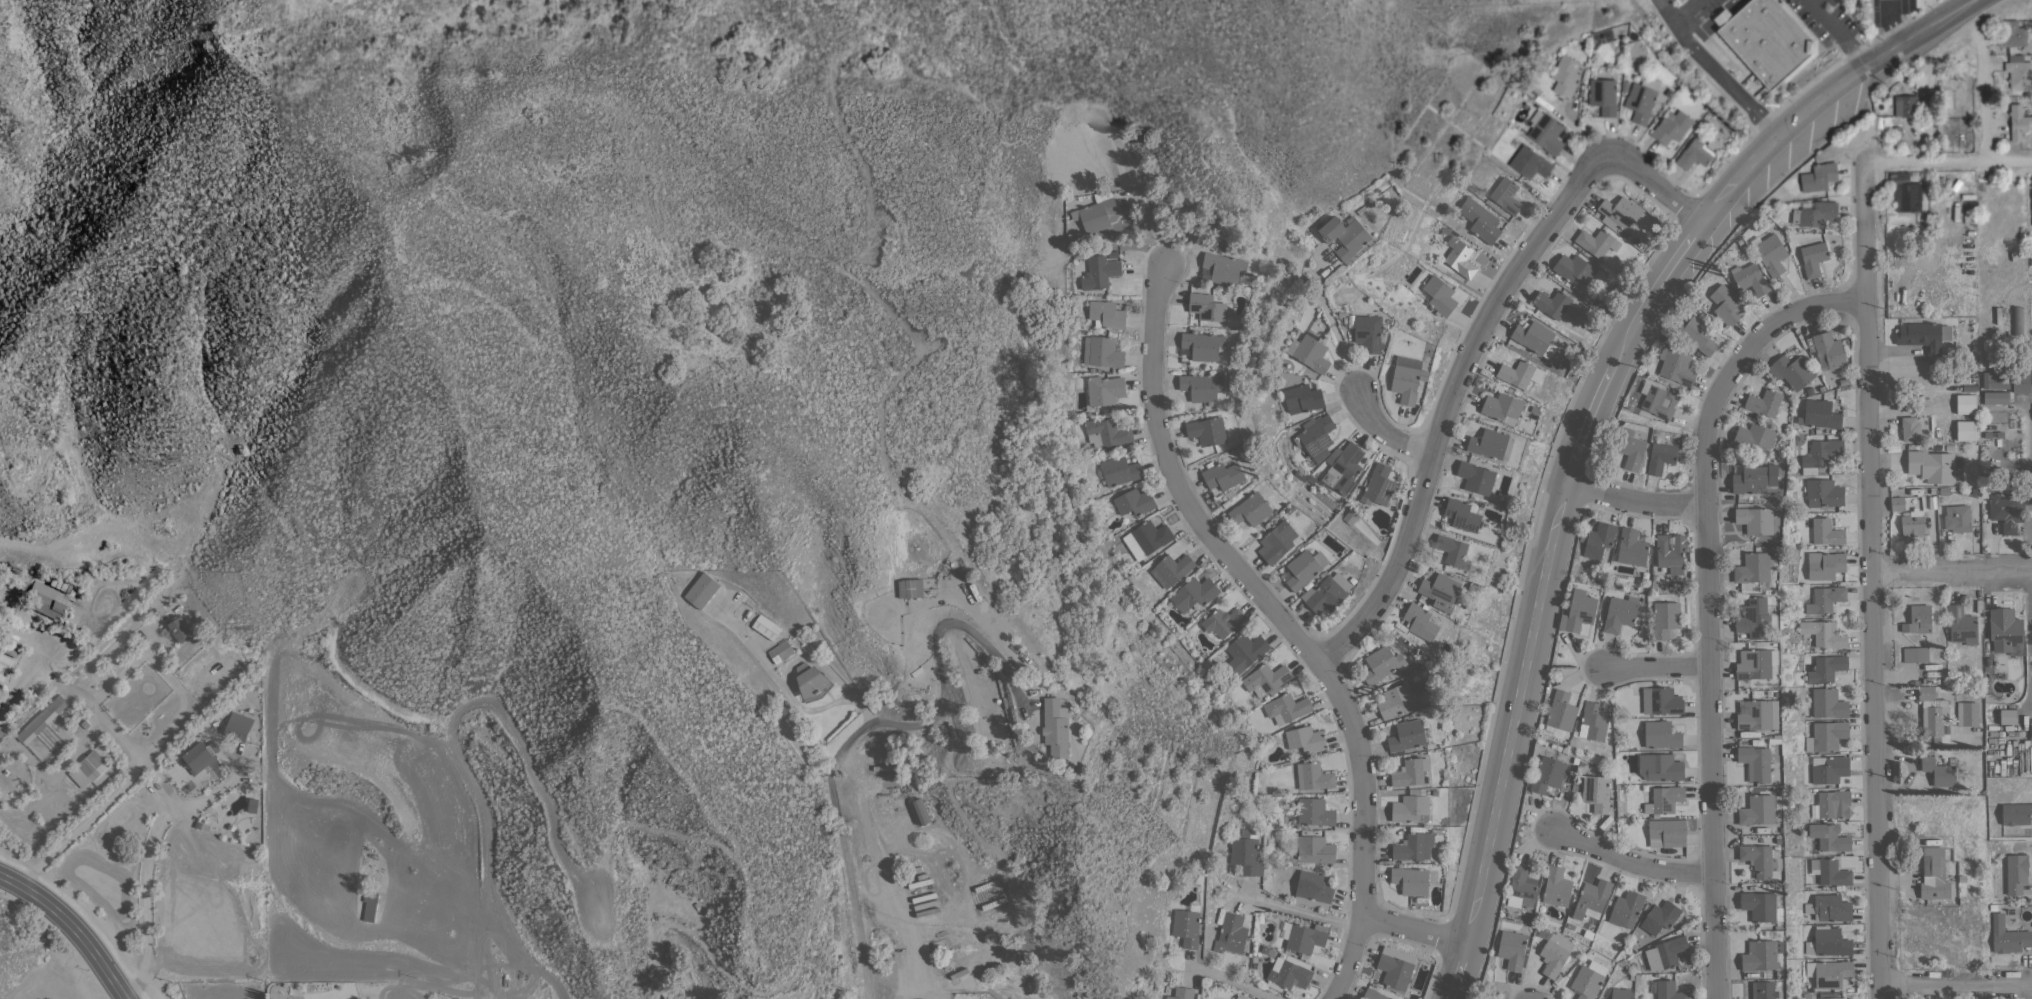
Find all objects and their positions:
road: (1809, 1)
road: (1891, 3)
road: (1683, 13)
road: (1896, 25)
road: (1835, 33)
building: (2013, 34)
building: (1767, 40)
road: (1713, 70)
building: (2018, 72)
building: (1566, 75)
road: (1980, 82)
building: (1602, 95)
building: (1641, 99)
building: (1905, 105)
building: (2017, 122)
building: (1670, 127)
building: (1545, 132)
building: (1696, 153)
road: (1947, 160)
building: (1529, 162)
building: (1818, 177)
building: (1905, 192)
building: (1506, 195)
building: (2031, 199)
building: (1095, 213)
building: (1817, 214)
building: (1621, 215)
building: (1480, 220)
building: (1344, 236)
building: (1596, 242)
building: (1771, 254)
building: (1459, 256)
building: (1813, 258)
building: (2030, 260)
building: (1223, 268)
building: (1573, 268)
building: (1099, 272)
building: (1750, 279)
building: (1439, 295)
building: (1552, 303)
building: (1725, 305)
building: (1206, 307)
building: (1106, 315)
building: (2017, 320)
building: (1368, 333)
building: (1699, 334)
building: (1920, 336)
building: (1533, 338)
building: (1202, 346)
building: (1829, 349)
building: (1101, 352)
road: (1468, 352)
building: (1311, 354)
building: (1677, 367)
building: (1791, 372)
building: (1520, 373)
building: (1406, 379)
building: (2006, 382)
building: (1201, 387)
building: (1104, 390)
building: (1996, 398)
building: (1302, 399)
building: (1658, 400)
building: (1764, 403)
building: (1965, 404)
building: (1502, 408)
building: (1819, 414)
road: (1583, 424)
building: (1910, 429)
building: (1965, 430)
building: (1206, 431)
building: (1106, 432)
building: (1993, 432)
road: (1382, 434)
building: (1315, 436)
building: (1753, 437)
building: (1490, 444)
building: (1631, 451)
building: (1822, 453)
building: (1660, 457)
building: (1933, 465)
building: (1342, 467)
building: (1119, 471)
building: (1223, 476)
building: (1476, 478)
building: (1753, 478)
building: (1378, 486)
building: (1823, 493)
road: (1633, 500)
building: (1134, 502)
building: (1897, 503)
building: (1250, 509)
building: (2006, 512)
building: (1462, 515)
building: (1957, 518)
building: (1755, 520)
building: (1912, 523)
building: (1826, 532)
building: (1146, 539)
building: (1276, 541)
building: (1599, 541)
building: (1631, 547)
building: (1452, 549)
building: (1670, 550)
building: (1824, 565)
building: (1303, 568)
building: (1752, 568)
building: (1171, 569)
road: (1951, 573)
road: (1871, 581)
building: (910, 588)
building: (1440, 589)
building: (701, 590)
building: (1327, 593)
building: (1193, 594)
building: (45, 599)
building: (1825, 600)
road: (1707, 602)
building: (1578, 611)
building: (1619, 614)
building: (1665, 619)
building: (1754, 619)
building: (1918, 619)
building: (1222, 621)
building: (1420, 621)
building: (1961, 625)
building: (765, 627)
building: (178, 629)
building: (2005, 630)
road: (1293, 631)
road: (2028, 635)
building: (1828, 636)
building: (780, 651)
building: (1244, 652)
building: (1915, 654)
building: (1755, 664)
building: (1382, 665)
road: (1655, 667)
building: (1826, 668)
building: (1265, 679)
building: (809, 680)
building: (1397, 701)
building: (1661, 701)
building: (1828, 704)
building: (1286, 708)
building: (1561, 711)
building: (1932, 712)
building: (1967, 714)
building: (1757, 715)
building: (2008, 716)
road: (173, 717)
building: (41, 720)
building: (1594, 720)
building: (238, 726)
building: (1055, 728)
road: (862, 729)
building: (1406, 735)
building: (1661, 735)
building: (1827, 736)
building: (1305, 739)
building: (199, 756)
building: (1755, 763)
building: (92, 766)
building: (1660, 767)
building: (1830, 770)
building: (1410, 772)
building: (1938, 772)
building: (1547, 774)
building: (1314, 776)
building: (1596, 793)
building: (1664, 799)
building: (1833, 804)
building: (1410, 809)
building: (1758, 809)
building: (919, 811)
building: (1314, 812)
building: (2016, 814)
building: (1666, 835)
building: (1829, 837)
building: (1414, 846)
building: (1312, 849)
building: (1246, 853)
building: (1757, 859)
road: (141, 860)
road: (1629, 861)
building: (1831, 873)
building: (2016, 873)
building: (1934, 874)
building: (1411, 880)
building: (1556, 887)
building: (1521, 888)
building: (1313, 890)
building: (1592, 900)
building: (370, 906)
building: (1760, 907)
building: (1829, 908)
building: (1626, 909)
road: (1303, 913)
building: (1660, 917)
road: (71, 927)
building: (1186, 927)
road: (1415, 931)
building: (1233, 932)
road: (902, 934)
building: (2008, 936)
building: (1306, 937)
building: (1828, 942)
building: (1512, 949)
building: (1667, 953)
building: (1555, 954)
building: (1761, 955)
building: (1395, 967)
building: (1829, 973)
building: (1290, 974)
road: (1230, 977)
building: (1587, 982)
road: (1956, 986)
building: (1669, 990)
building: (1763, 990)
building: (1181, 993)
building: (1620, 993)
road: (2023, 993)
building: (1373, 994)
building: (672, 996)
building: (1828, 996)
building: (1239, 998)

